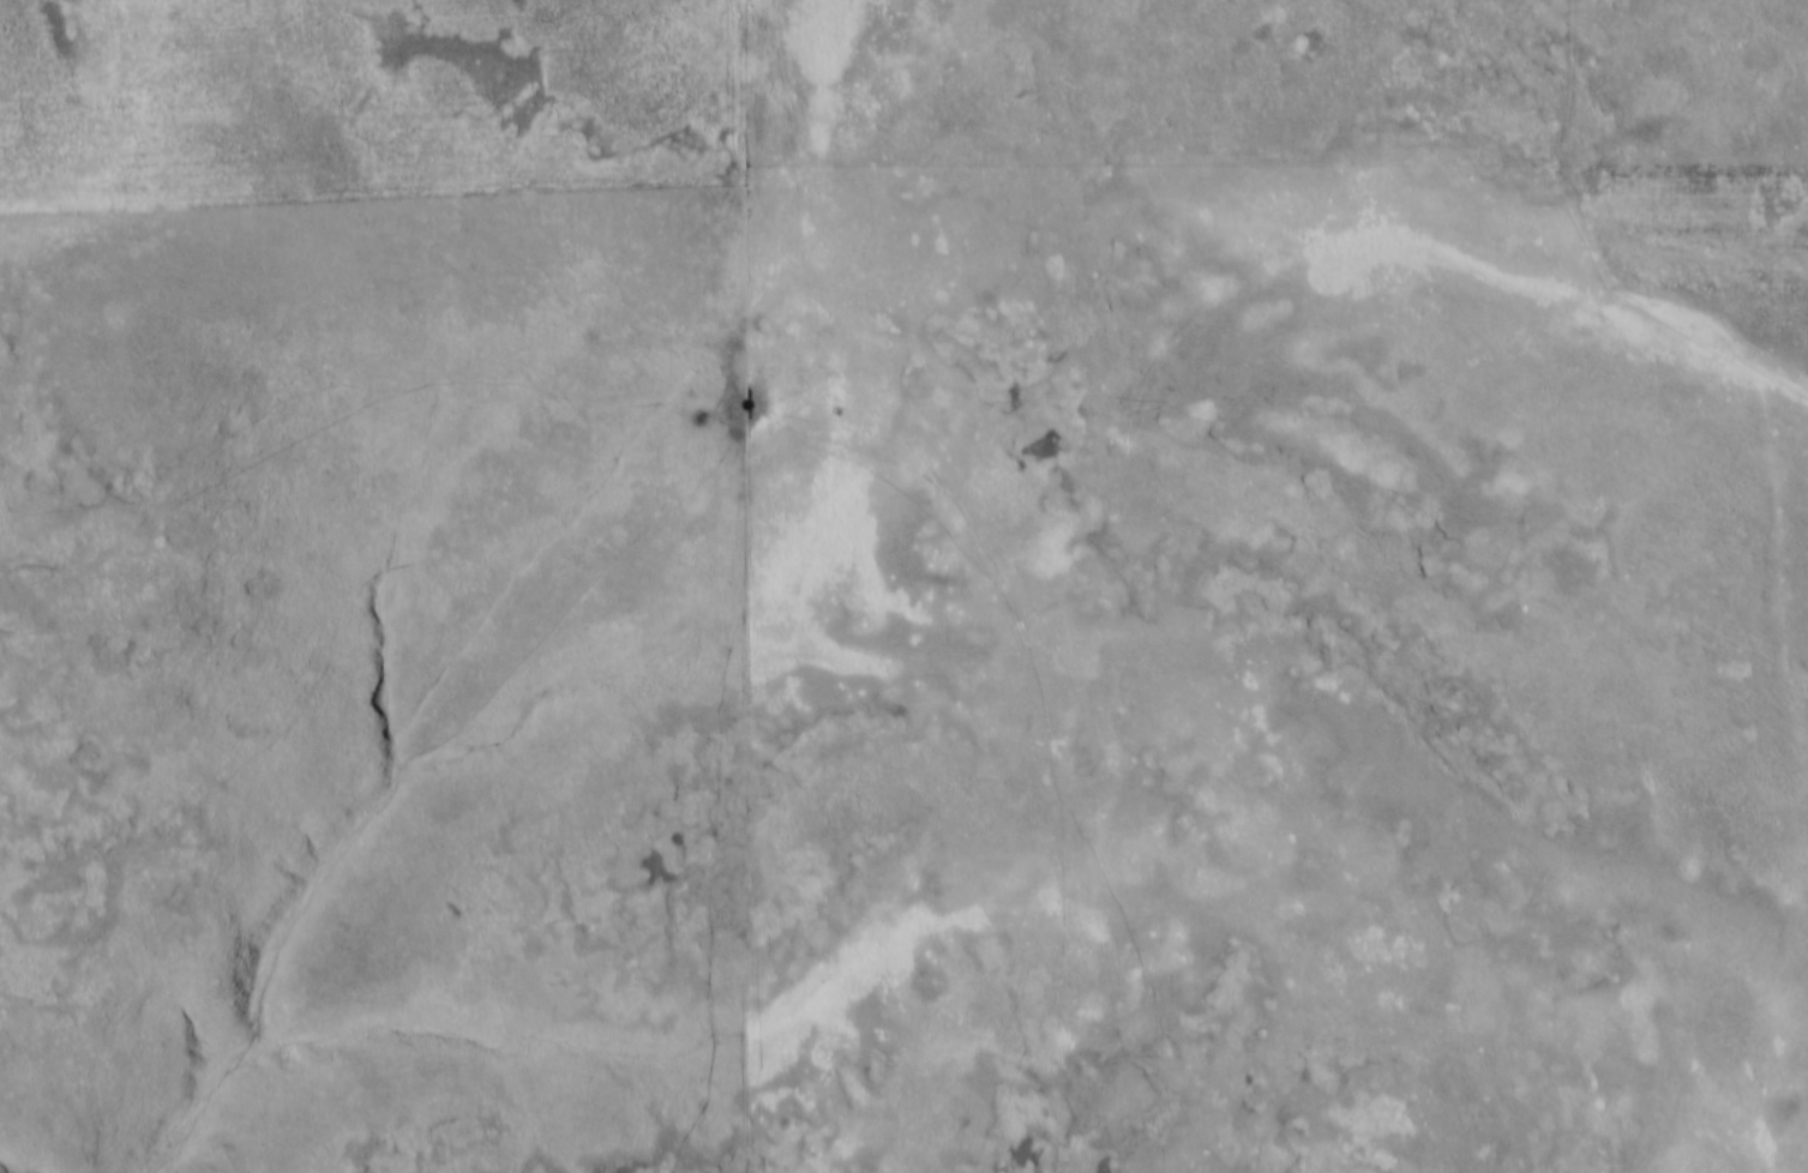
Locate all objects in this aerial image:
road: (987, 522)
road: (756, 585)

